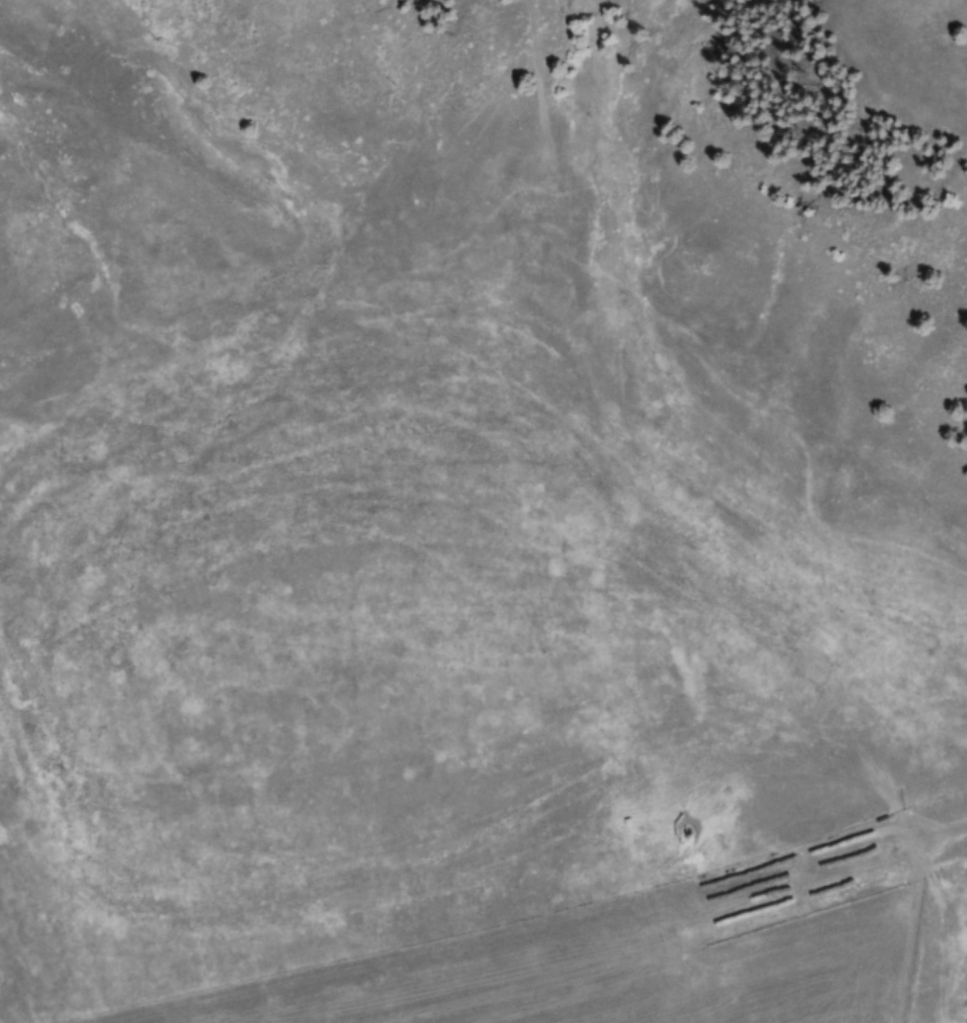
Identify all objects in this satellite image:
road: (942, 832)
building: (826, 864)

